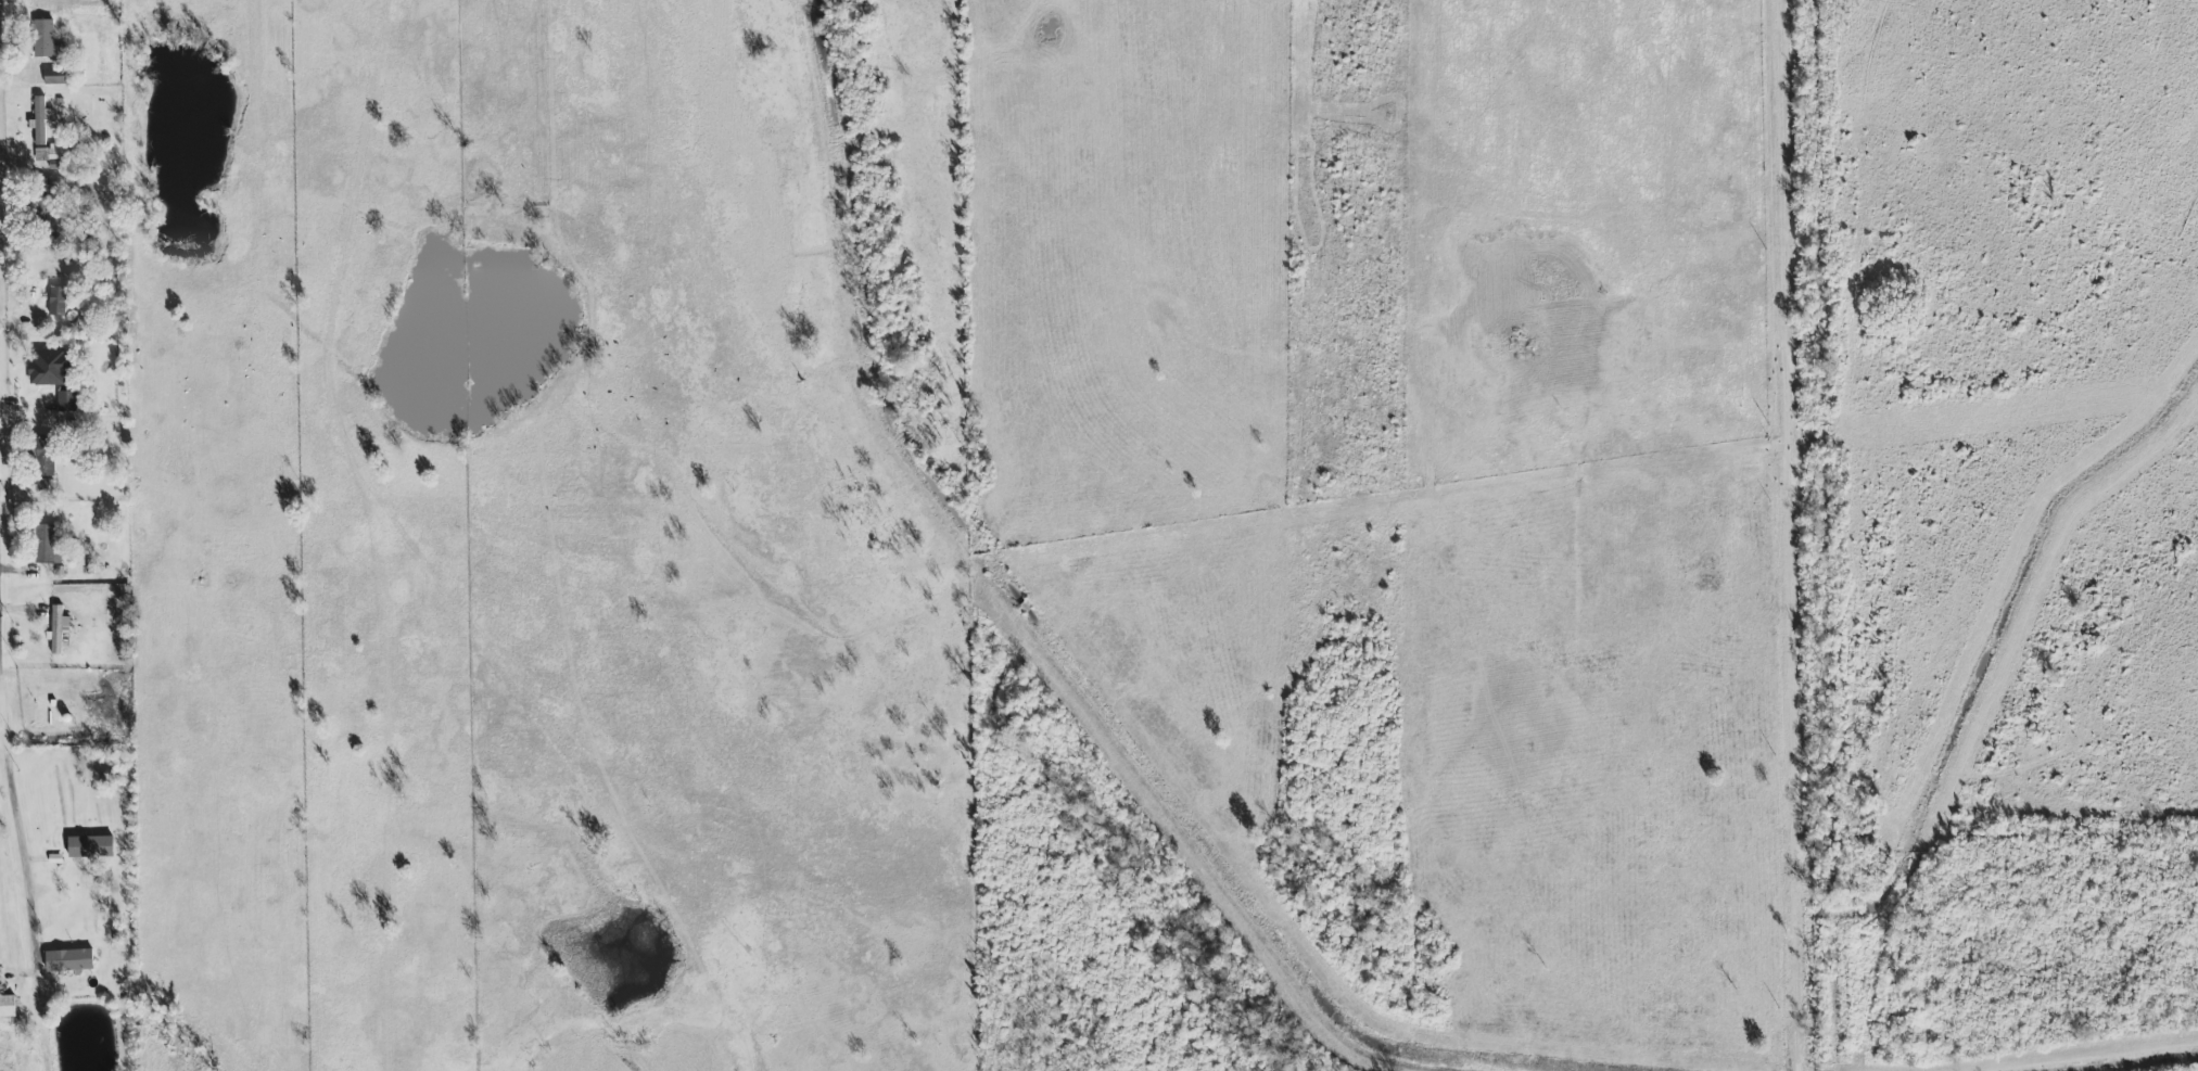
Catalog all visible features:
building: (46, 39)
building: (55, 76)
building: (39, 120)
building: (55, 151)
building: (58, 301)
building: (51, 367)
building: (66, 400)
building: (46, 456)
building: (42, 484)
road: (1794, 522)
building: (45, 545)
building: (58, 628)
road: (16, 813)
building: (90, 846)
building: (69, 960)
building: (8, 1006)

